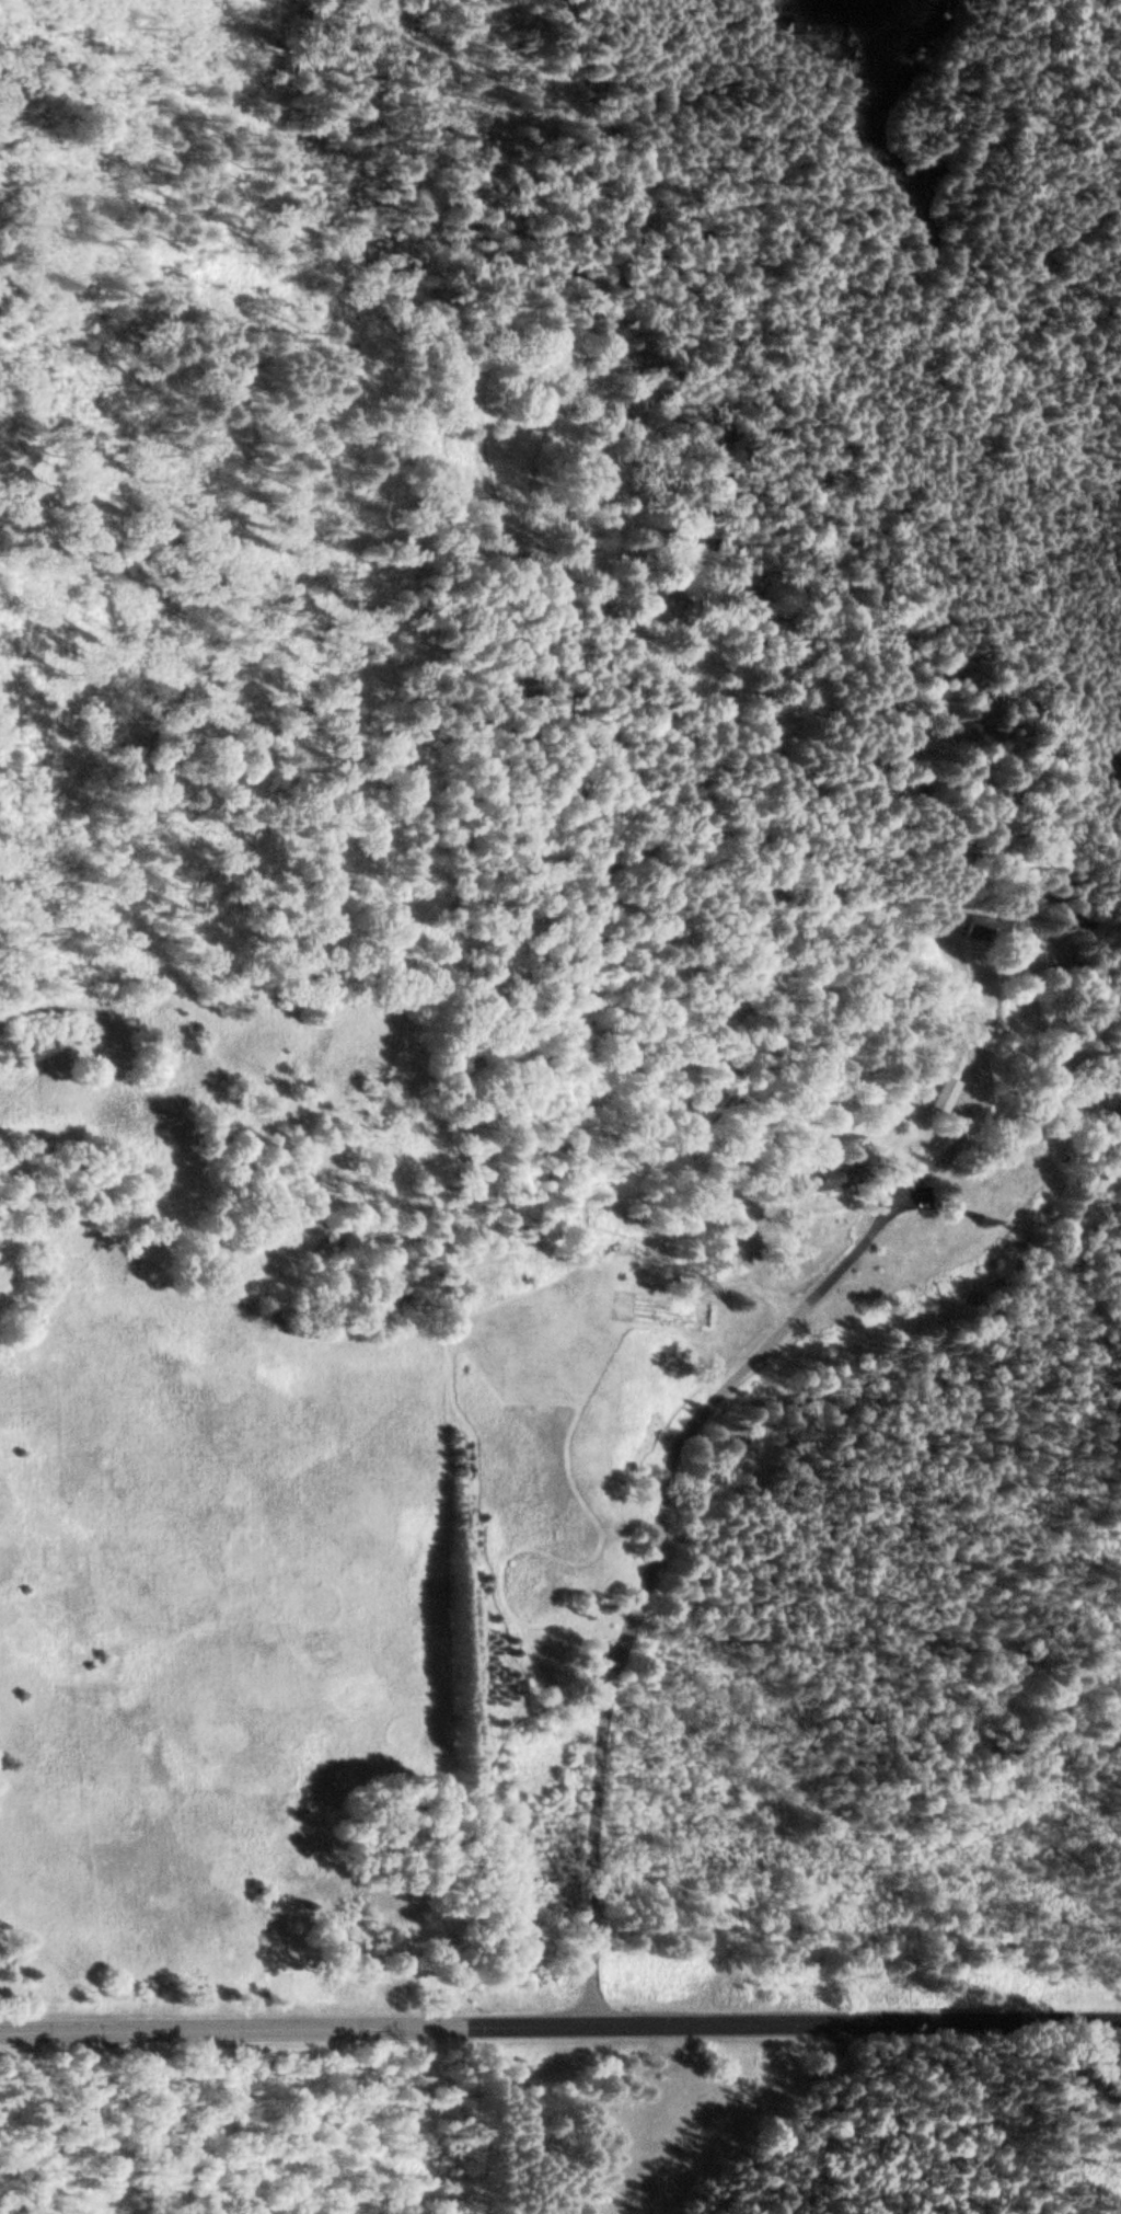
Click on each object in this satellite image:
building: (985, 930)
building: (940, 1097)
building: (821, 1180)
road: (559, 2027)

